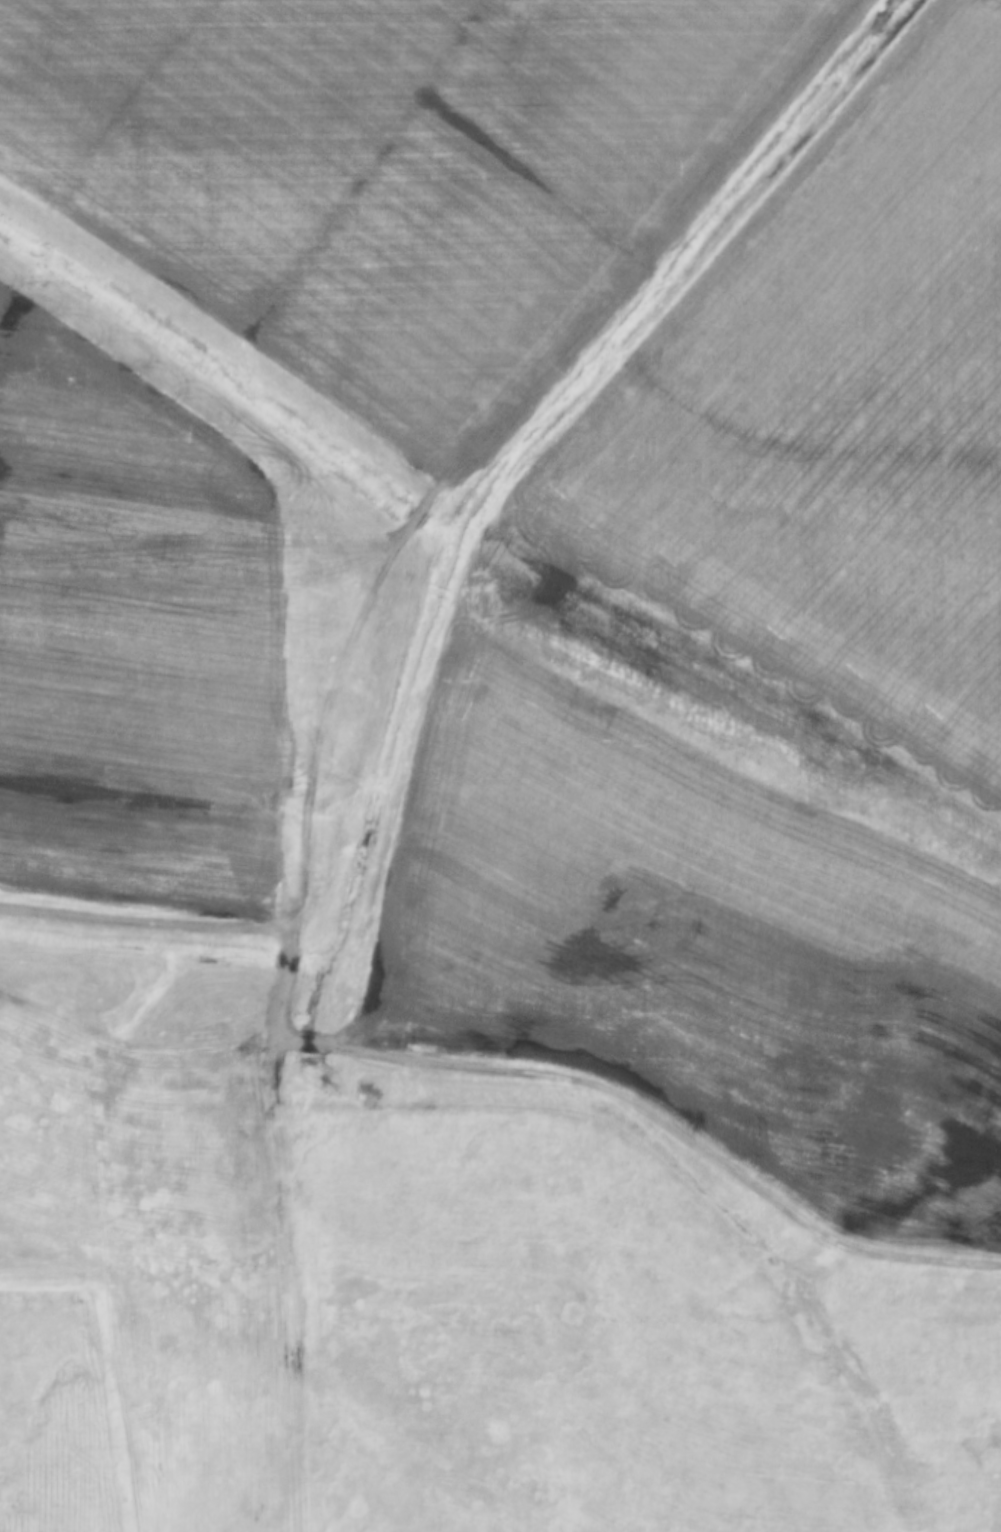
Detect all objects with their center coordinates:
road: (96, 1247)

